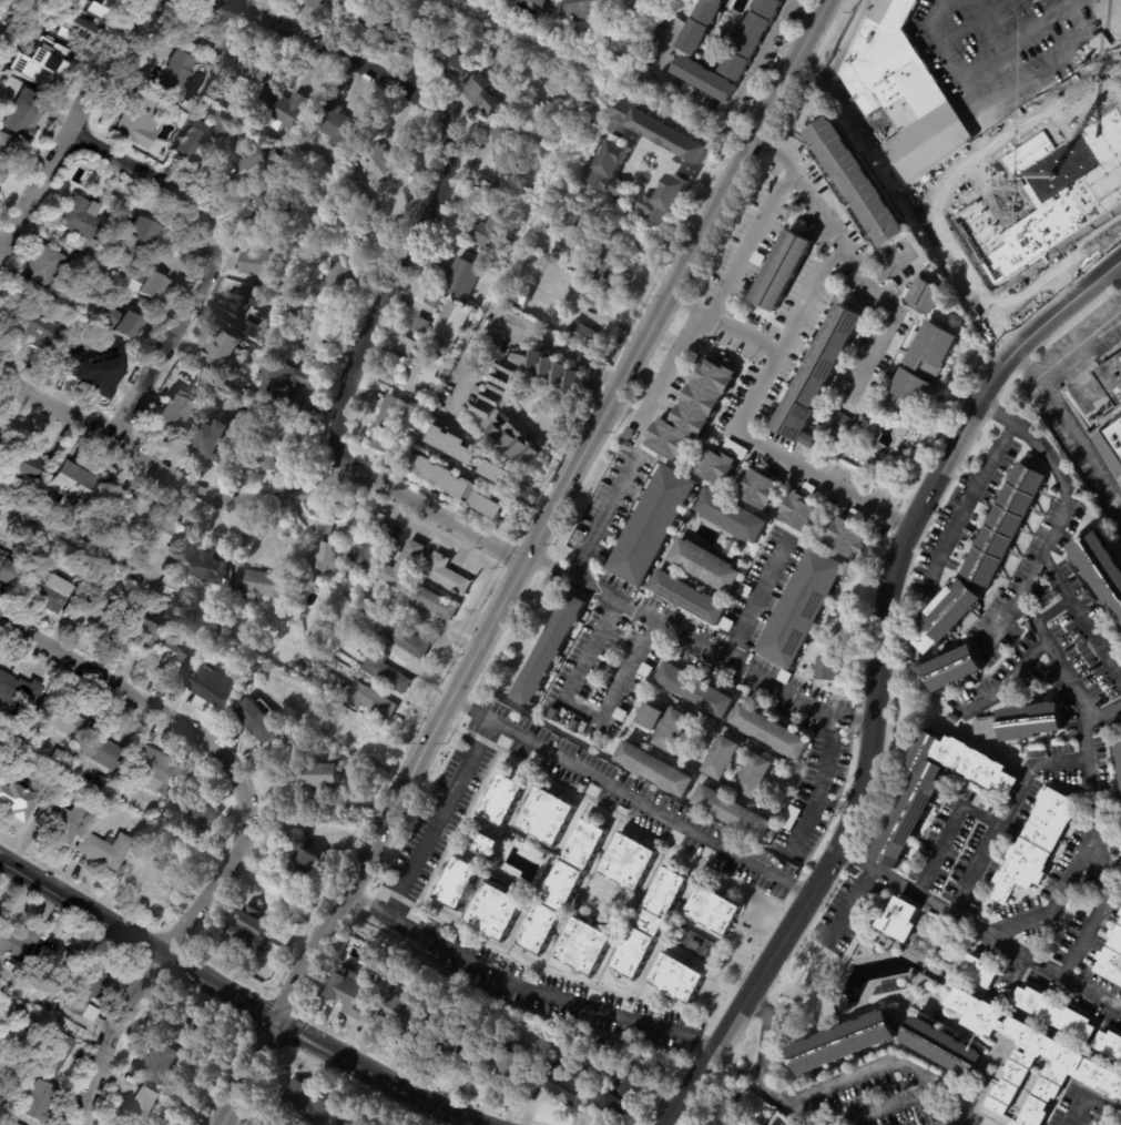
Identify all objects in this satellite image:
building: (0, 0)
building: (332, 1)
building: (314, 3)
building: (541, 3)
road: (1062, 3)
road: (1070, 3)
road: (809, 7)
building: (588, 8)
building: (361, 13)
building: (78, 19)
building: (0, 24)
building: (704, 26)
building: (401, 32)
building: (204, 33)
building: (2, 38)
building: (755, 39)
road: (1011, 42)
building: (1099, 43)
building: (491, 50)
road: (760, 59)
road: (835, 59)
building: (39, 61)
building: (452, 61)
building: (244, 67)
road: (1112, 75)
building: (175, 78)
building: (707, 78)
road: (1115, 83)
building: (487, 95)
road: (704, 108)
building: (287, 109)
road: (1052, 113)
building: (27, 114)
building: (140, 118)
road: (74, 125)
building: (340, 125)
building: (661, 132)
building: (205, 136)
road: (998, 138)
building: (511, 143)
building: (936, 149)
building: (4, 153)
building: (386, 161)
building: (259, 162)
road: (686, 165)
building: (613, 169)
building: (855, 182)
road: (441, 187)
building: (359, 190)
building: (669, 203)
building: (264, 211)
building: (81, 224)
building: (591, 229)
building: (492, 232)
building: (132, 240)
building: (628, 241)
building: (527, 257)
building: (757, 259)
road: (213, 261)
building: (577, 264)
building: (267, 265)
building: (44, 266)
building: (498, 266)
building: (610, 270)
road: (889, 270)
building: (782, 271)
road: (1117, 274)
building: (460, 277)
building: (336, 283)
building: (151, 285)
building: (924, 295)
road: (720, 297)
building: (436, 300)
building: (600, 300)
road: (690, 304)
building: (304, 310)
building: (253, 312)
road: (887, 322)
building: (124, 324)
building: (421, 325)
building: (452, 325)
building: (39, 332)
road: (528, 333)
building: (582, 333)
road: (744, 334)
building: (313, 335)
building: (409, 345)
building: (929, 348)
building: (228, 354)
road: (1064, 354)
road: (774, 363)
building: (396, 372)
building: (426, 372)
building: (816, 375)
building: (186, 379)
building: (1111, 379)
building: (287, 385)
building: (908, 392)
building: (694, 407)
building: (495, 409)
building: (174, 412)
road: (626, 416)
building: (394, 424)
building: (842, 424)
building: (629, 433)
building: (217, 438)
building: (1, 442)
road: (1078, 442)
building: (1110, 442)
building: (455, 444)
building: (736, 449)
building: (272, 454)
building: (461, 462)
building: (295, 464)
building: (28, 466)
building: (714, 466)
building: (502, 477)
building: (447, 478)
building: (73, 486)
building: (756, 487)
building: (12, 489)
building: (808, 489)
road: (970, 498)
road: (257, 500)
building: (490, 504)
building: (799, 513)
building: (853, 514)
building: (730, 515)
road: (603, 517)
building: (146, 521)
building: (1007, 524)
building: (651, 525)
building: (327, 527)
building: (845, 538)
building: (378, 551)
building: (732, 551)
building: (330, 559)
building: (40, 561)
road: (526, 562)
building: (208, 565)
building: (703, 565)
building: (1102, 565)
building: (410, 567)
building: (10, 575)
building: (454, 576)
building: (272, 586)
building: (745, 589)
building: (48, 594)
building: (686, 597)
road: (758, 598)
building: (1052, 599)
building: (243, 602)
building: (438, 605)
building: (801, 608)
building: (948, 614)
road: (1084, 614)
building: (90, 615)
building: (725, 624)
road: (1006, 625)
building: (373, 628)
building: (133, 634)
building: (408, 641)
road: (699, 642)
building: (548, 649)
building: (316, 657)
building: (173, 660)
building: (956, 668)
building: (644, 669)
building: (827, 669)
building: (390, 672)
building: (783, 676)
road: (878, 679)
road: (1009, 680)
building: (218, 687)
building: (693, 689)
building: (17, 695)
building: (373, 700)
building: (329, 706)
road: (584, 711)
building: (620, 713)
building: (650, 716)
building: (57, 718)
road: (1108, 719)
building: (956, 720)
building: (263, 722)
building: (1027, 722)
road: (1092, 722)
building: (317, 727)
building: (672, 728)
building: (348, 730)
building: (770, 731)
building: (291, 734)
road: (486, 734)
road: (213, 743)
building: (101, 744)
building: (17, 753)
building: (57, 756)
building: (723, 757)
building: (656, 769)
building: (157, 770)
building: (755, 774)
building: (319, 779)
road: (821, 781)
building: (938, 789)
road: (632, 797)
building: (16, 799)
building: (502, 799)
road: (838, 803)
building: (734, 811)
building: (194, 814)
building: (548, 814)
building: (791, 817)
road: (441, 818)
building: (62, 819)
building: (139, 822)
road: (951, 829)
building: (154, 831)
building: (1043, 843)
building: (487, 844)
building: (105, 849)
building: (631, 862)
building: (308, 869)
building: (155, 878)
building: (457, 882)
building: (562, 886)
road: (1069, 894)
road: (397, 904)
road: (847, 906)
building: (714, 910)
building: (496, 911)
building: (900, 918)
building: (650, 923)
building: (253, 930)
road: (140, 940)
building: (17, 943)
building: (695, 943)
building: (584, 945)
building: (917, 949)
road: (1083, 954)
building: (1112, 959)
building: (53, 965)
building: (982, 972)
building: (676, 977)
building: (88, 987)
building: (889, 987)
building: (3, 990)
road: (526, 990)
road: (1095, 992)
building: (19, 994)
building: (10, 995)
building: (356, 997)
building: (1058, 1014)
building: (414, 1016)
building: (181, 1031)
road: (300, 1032)
road: (108, 1033)
building: (608, 1042)
building: (461, 1043)
building: (1110, 1043)
building: (55, 1052)
building: (967, 1052)
building: (512, 1060)
building: (30, 1064)
road: (893, 1066)
building: (162, 1067)
road: (766, 1070)
building: (567, 1080)
road: (402, 1085)
building: (622, 1094)
road: (1091, 1096)
building: (38, 1101)
building: (315, 1104)
road: (894, 1105)
building: (145, 1106)
building: (719, 1111)
building: (9, 1123)
building: (17, 1124)
building: (122, 1124)
road: (1120, 1124)

